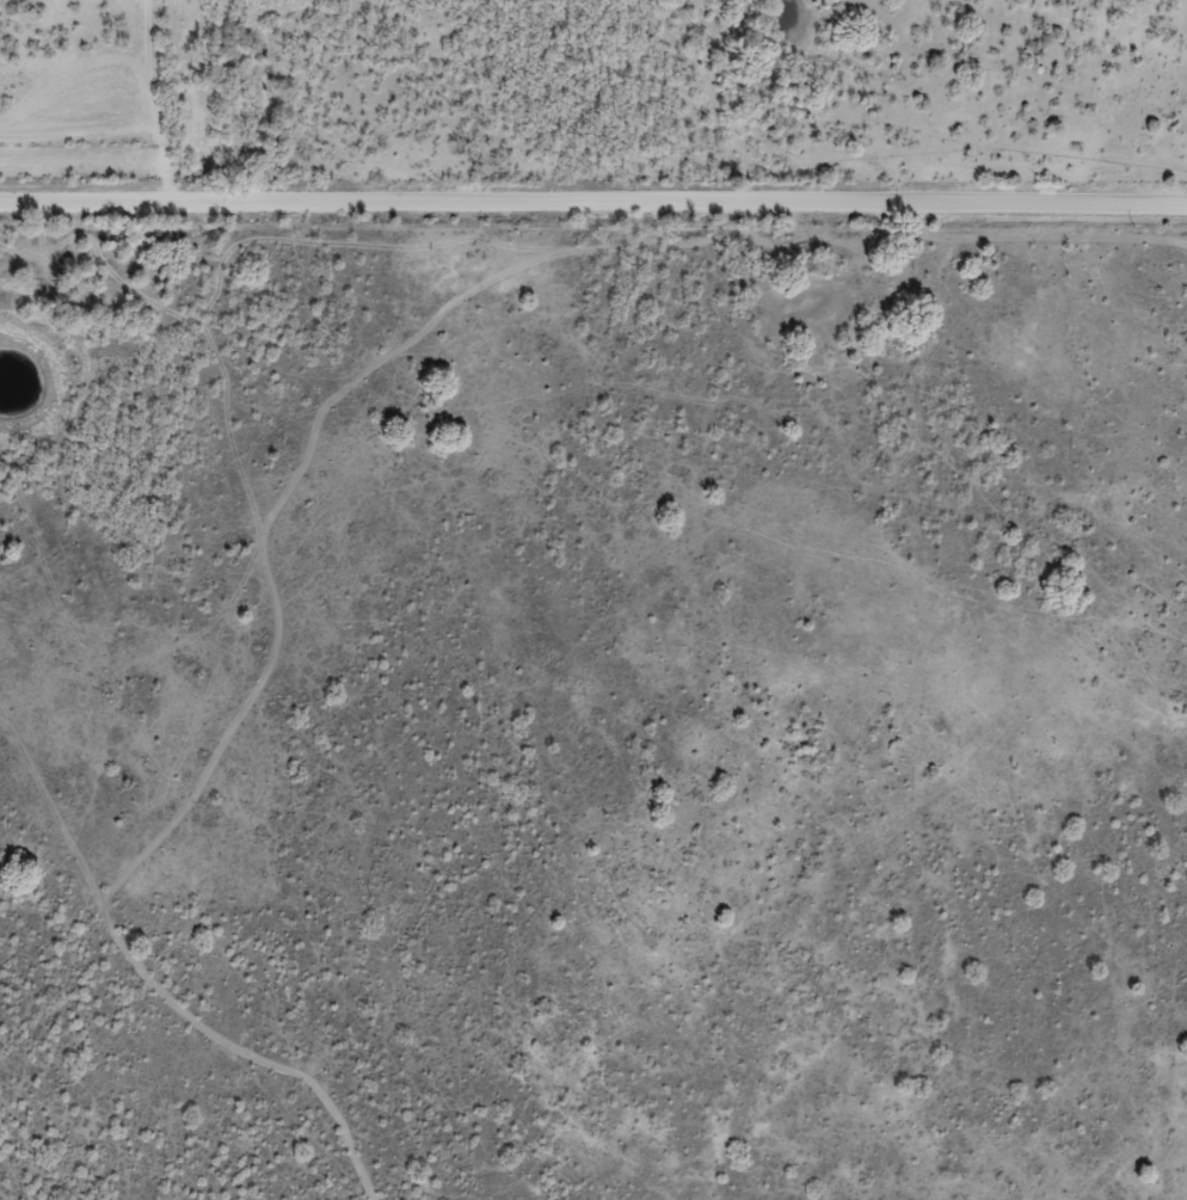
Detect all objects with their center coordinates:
road: (593, 230)

